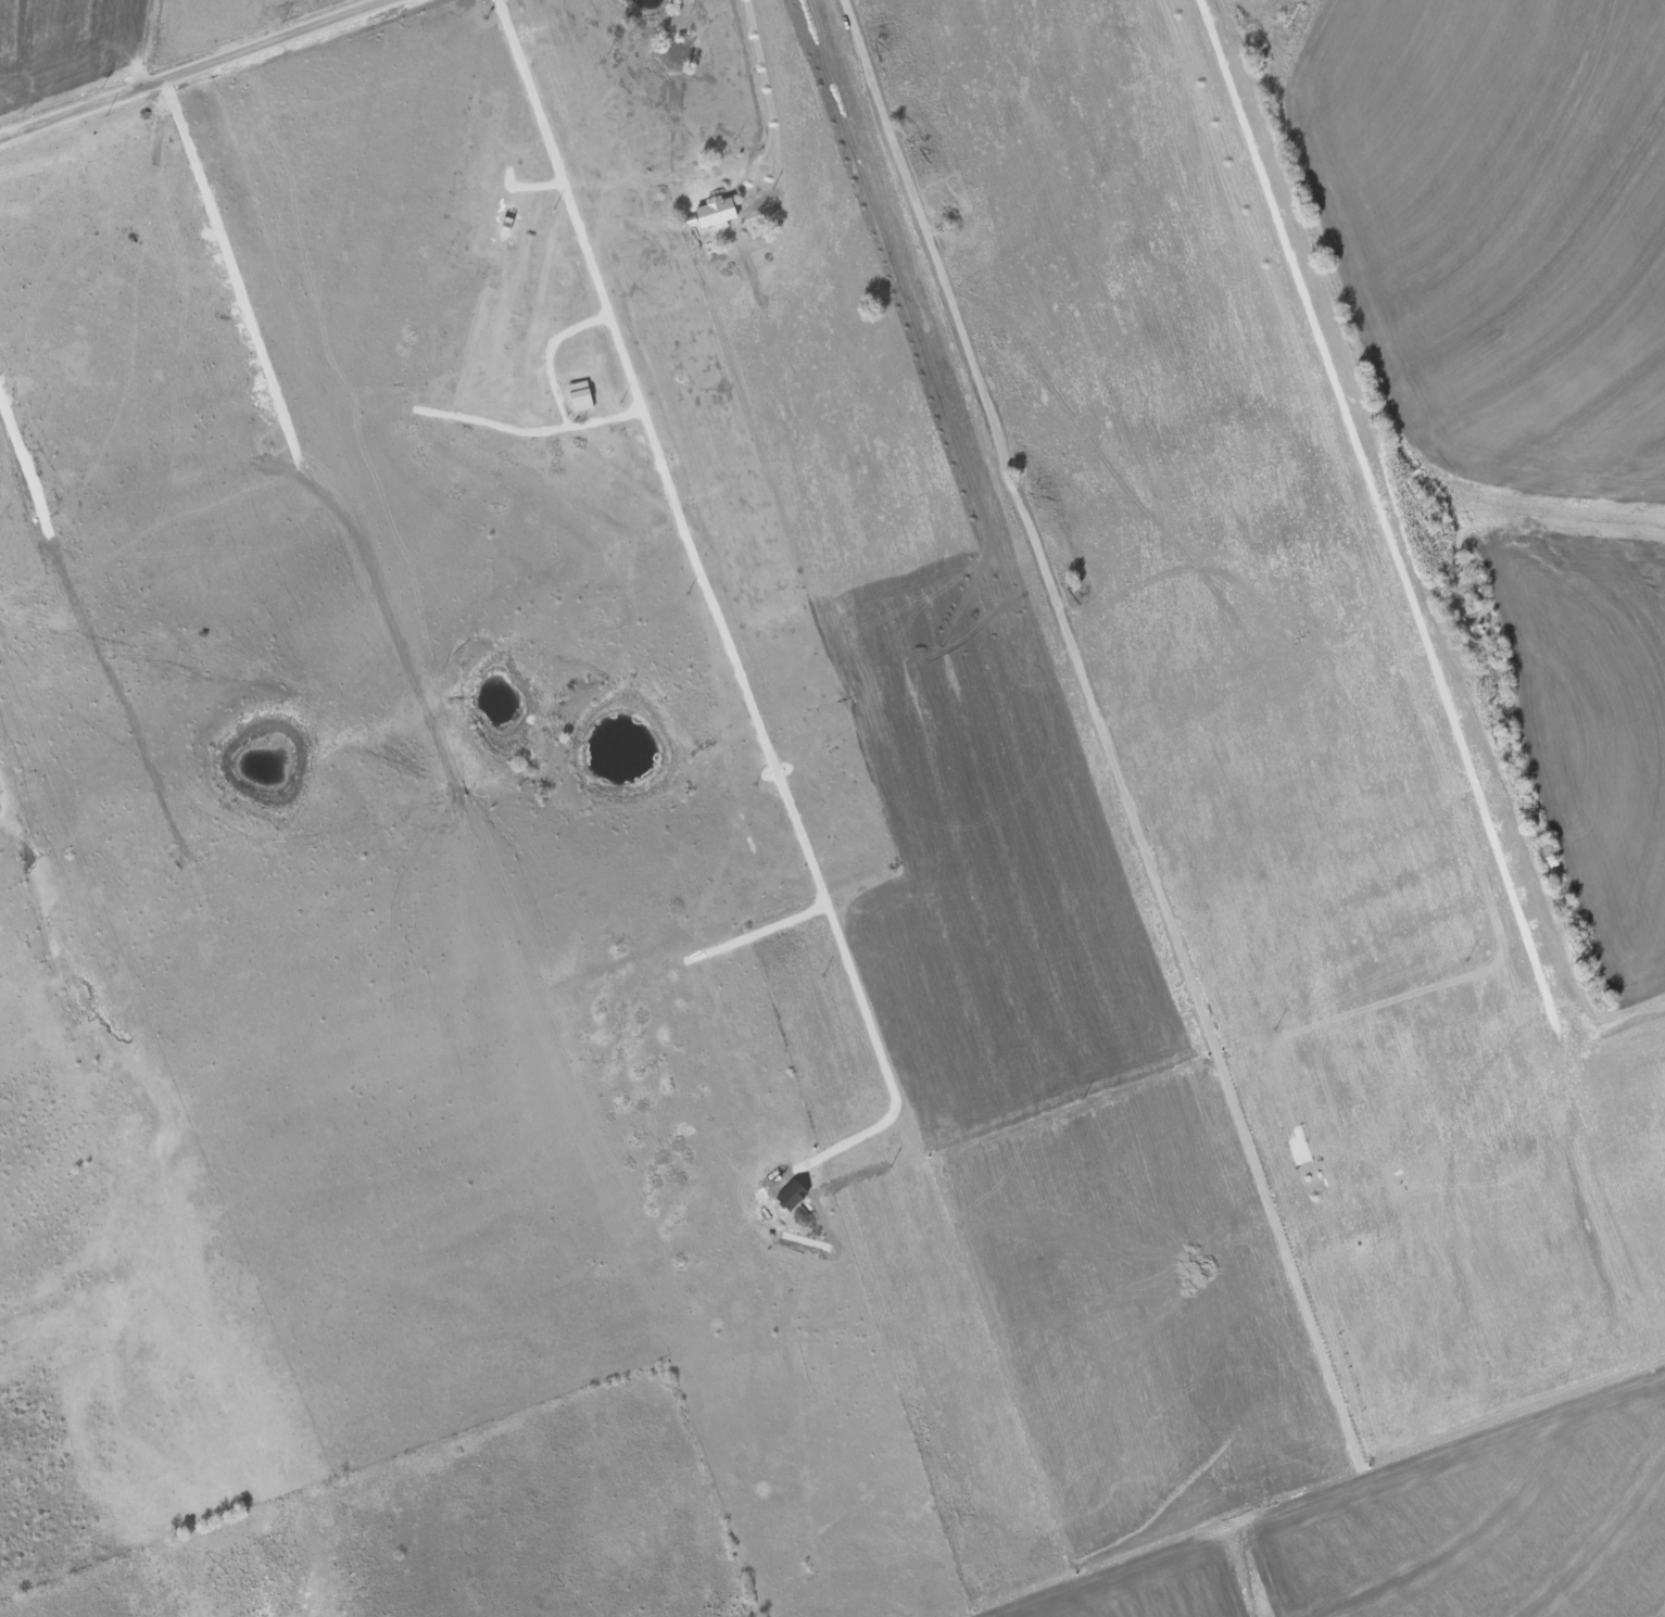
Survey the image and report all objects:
road: (191, 68)

